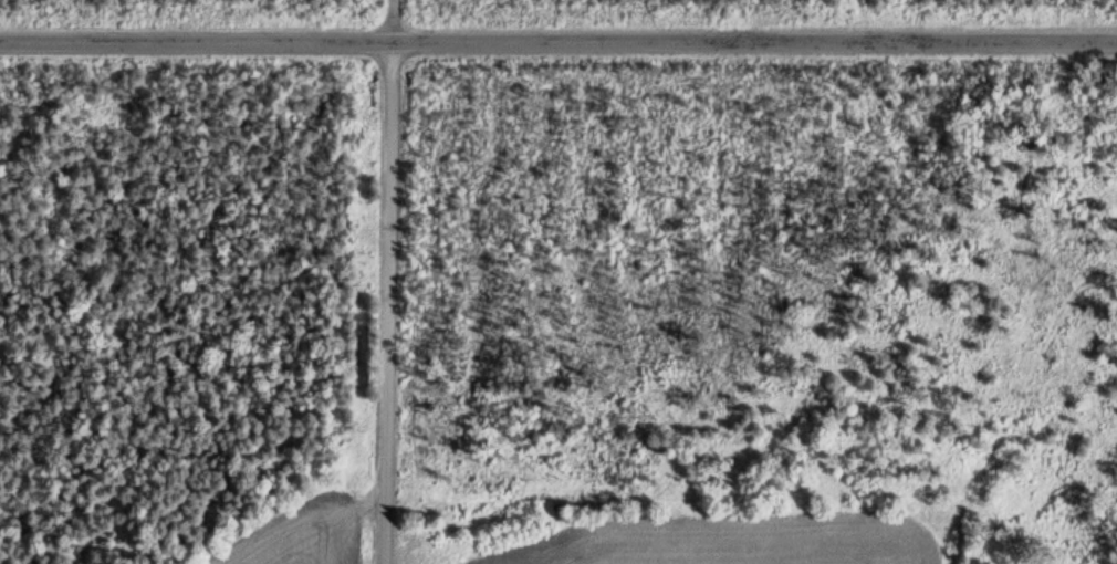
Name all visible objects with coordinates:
road: (557, 43)
road: (392, 281)

